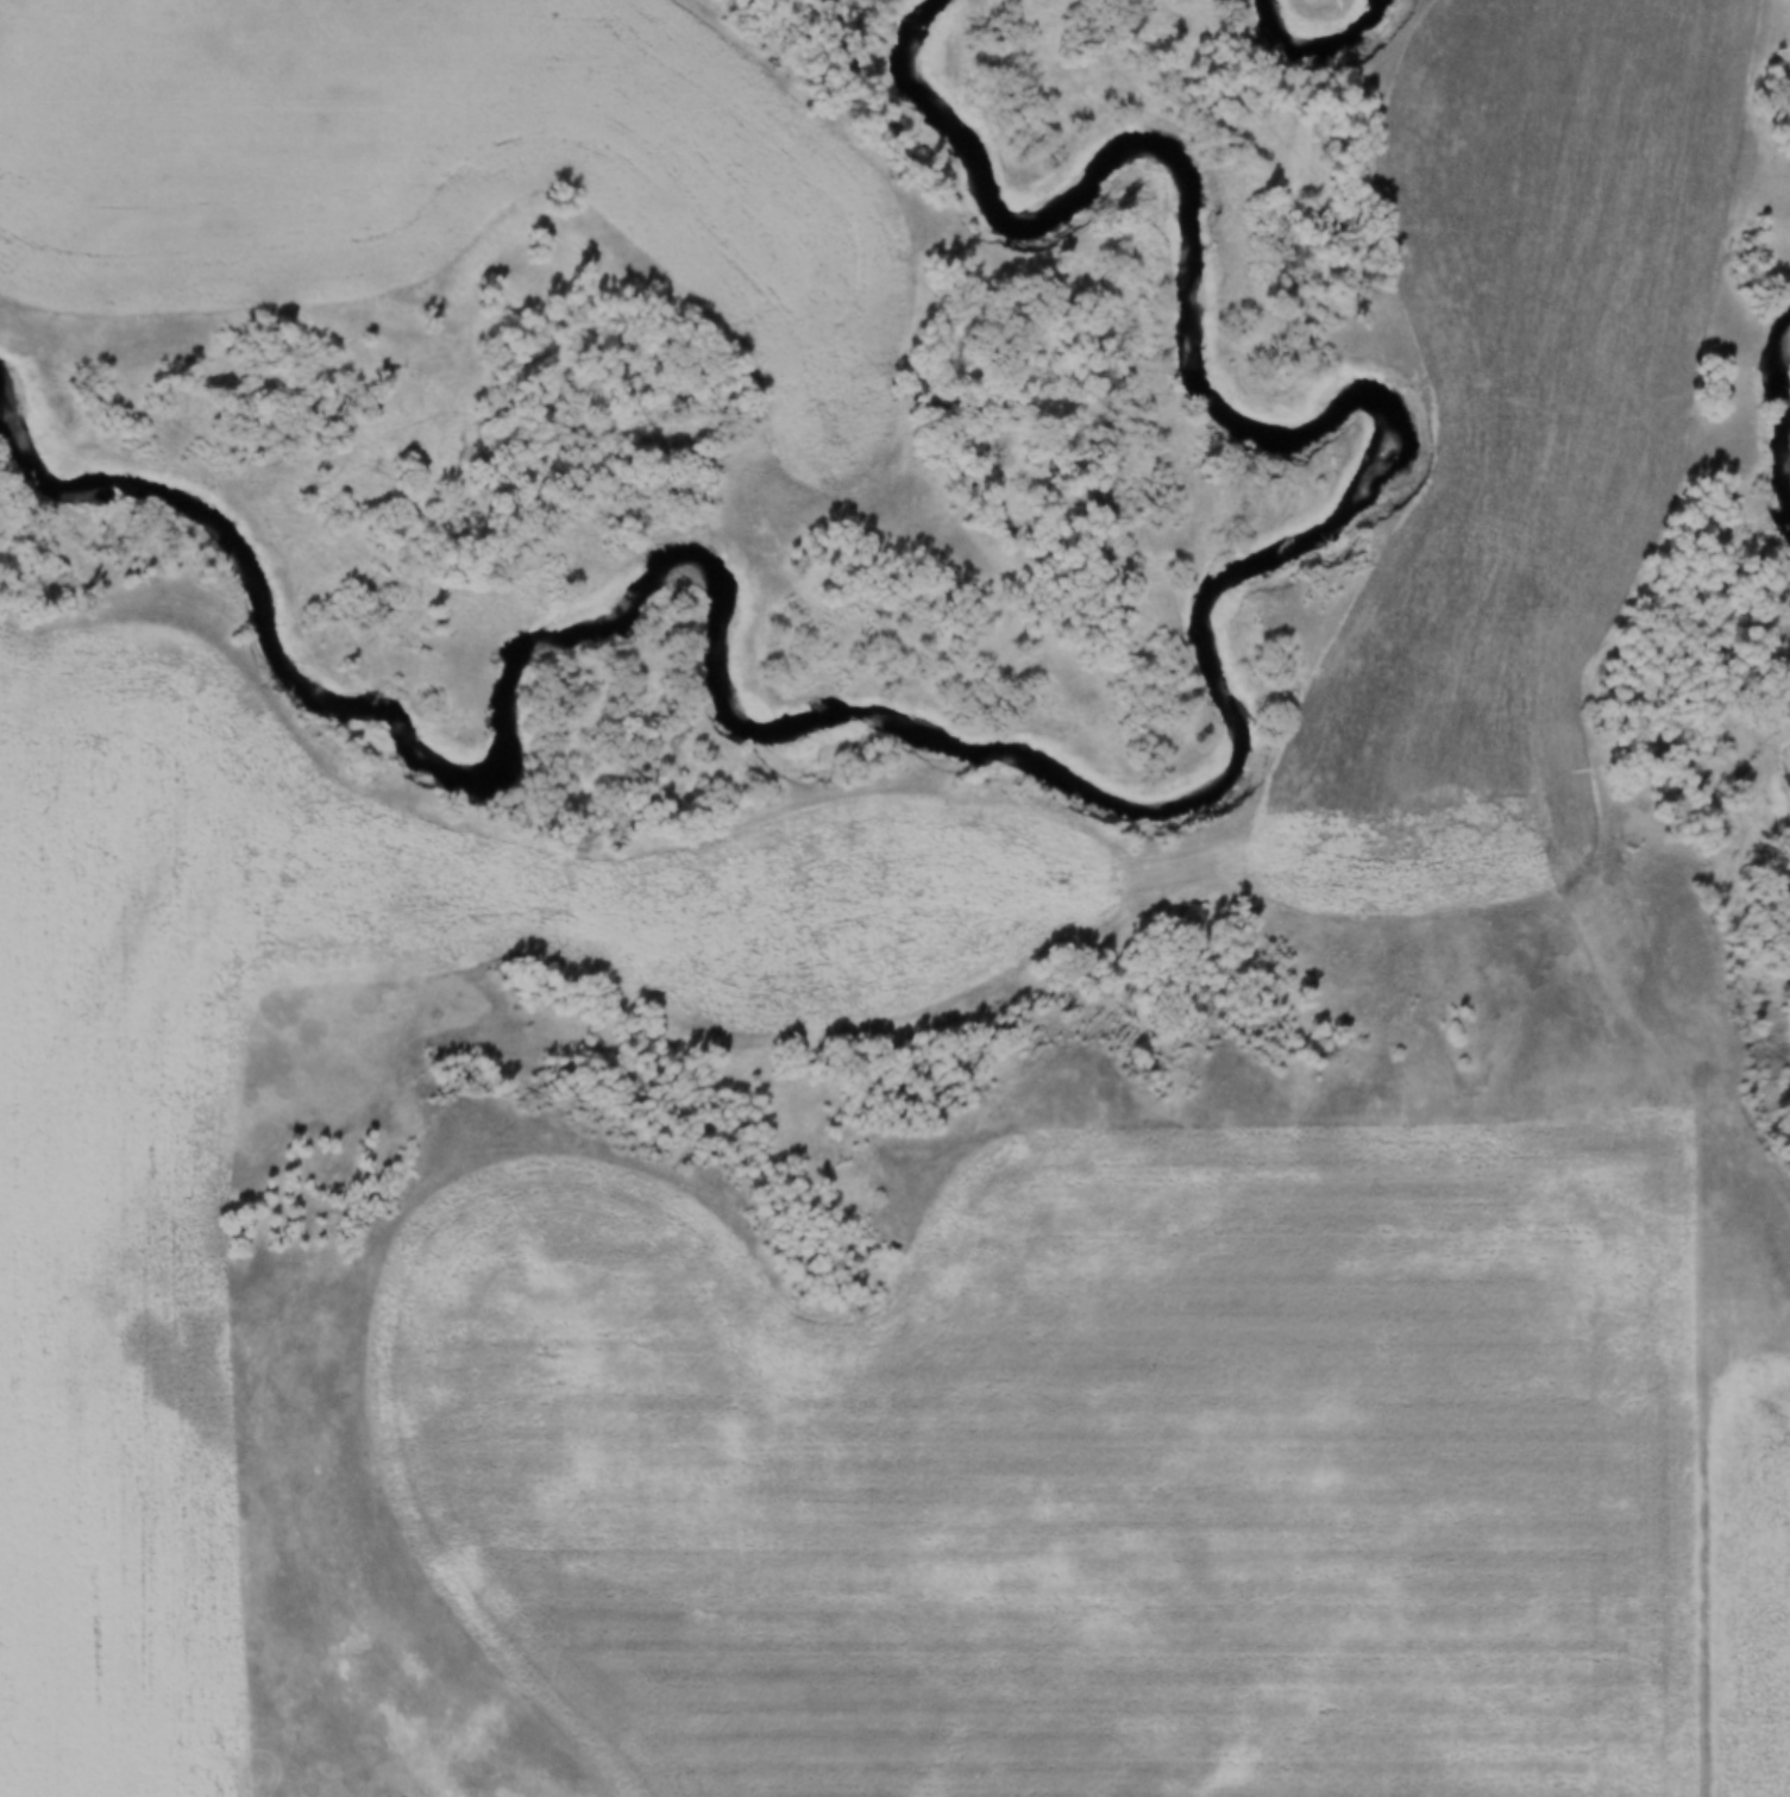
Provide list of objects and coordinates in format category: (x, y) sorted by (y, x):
road: (1721, 1698)

